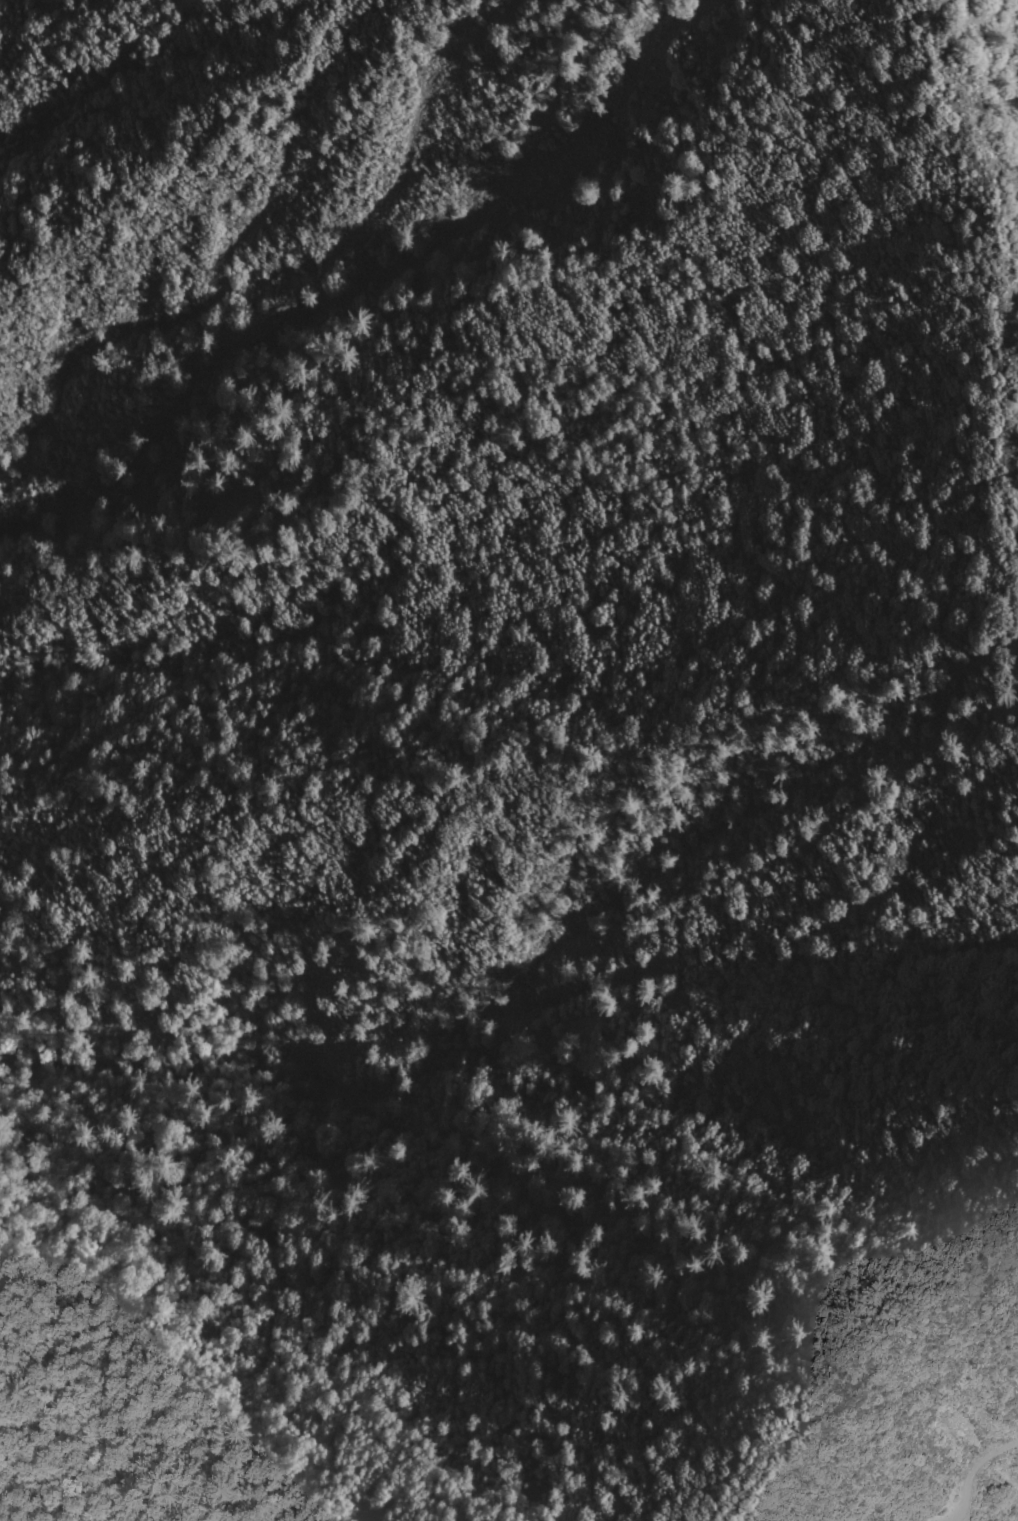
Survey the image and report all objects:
road: (1005, 258)
road: (847, 1371)
road: (973, 1471)
road: (356, 1519)

